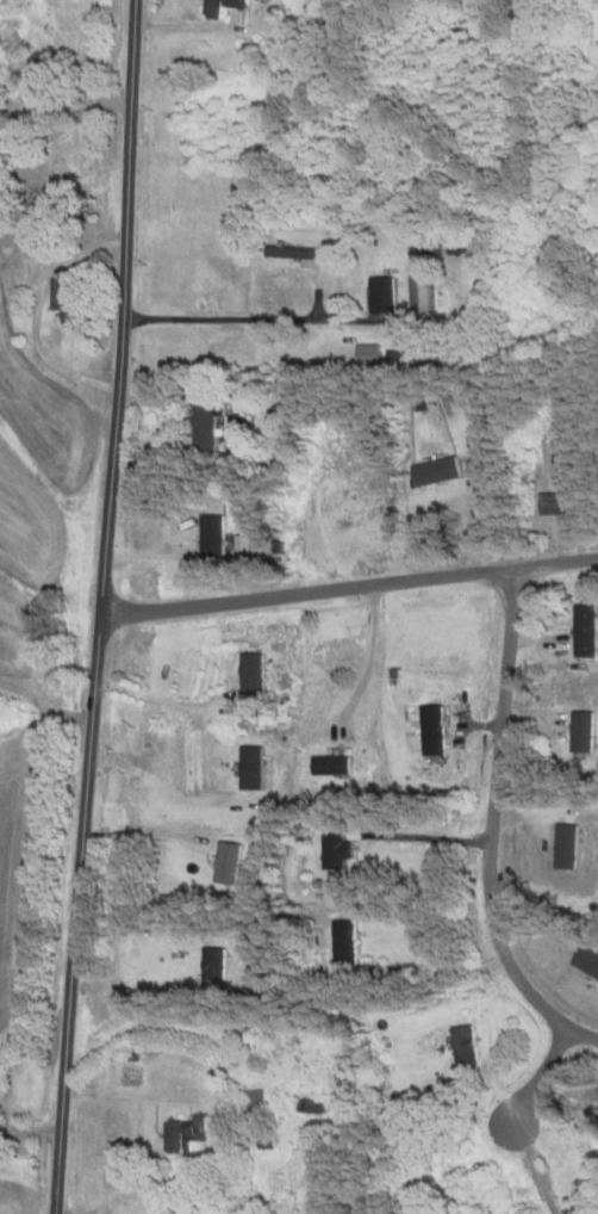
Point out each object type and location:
building: (213, 12)
road: (67, 124)
building: (300, 253)
building: (381, 295)
building: (66, 301)
road: (42, 308)
road: (223, 320)
building: (368, 352)
building: (207, 416)
building: (436, 470)
building: (555, 502)
building: (212, 533)
building: (242, 540)
road: (349, 582)
road: (102, 607)
building: (586, 630)
road: (370, 654)
building: (251, 671)
building: (434, 729)
building: (583, 730)
building: (326, 764)
building: (251, 767)
road: (160, 786)
road: (492, 828)
building: (334, 850)
building: (228, 861)
building: (344, 941)
road: (438, 968)
building: (465, 1045)
road: (543, 1074)
building: (185, 1132)
road: (532, 1167)

